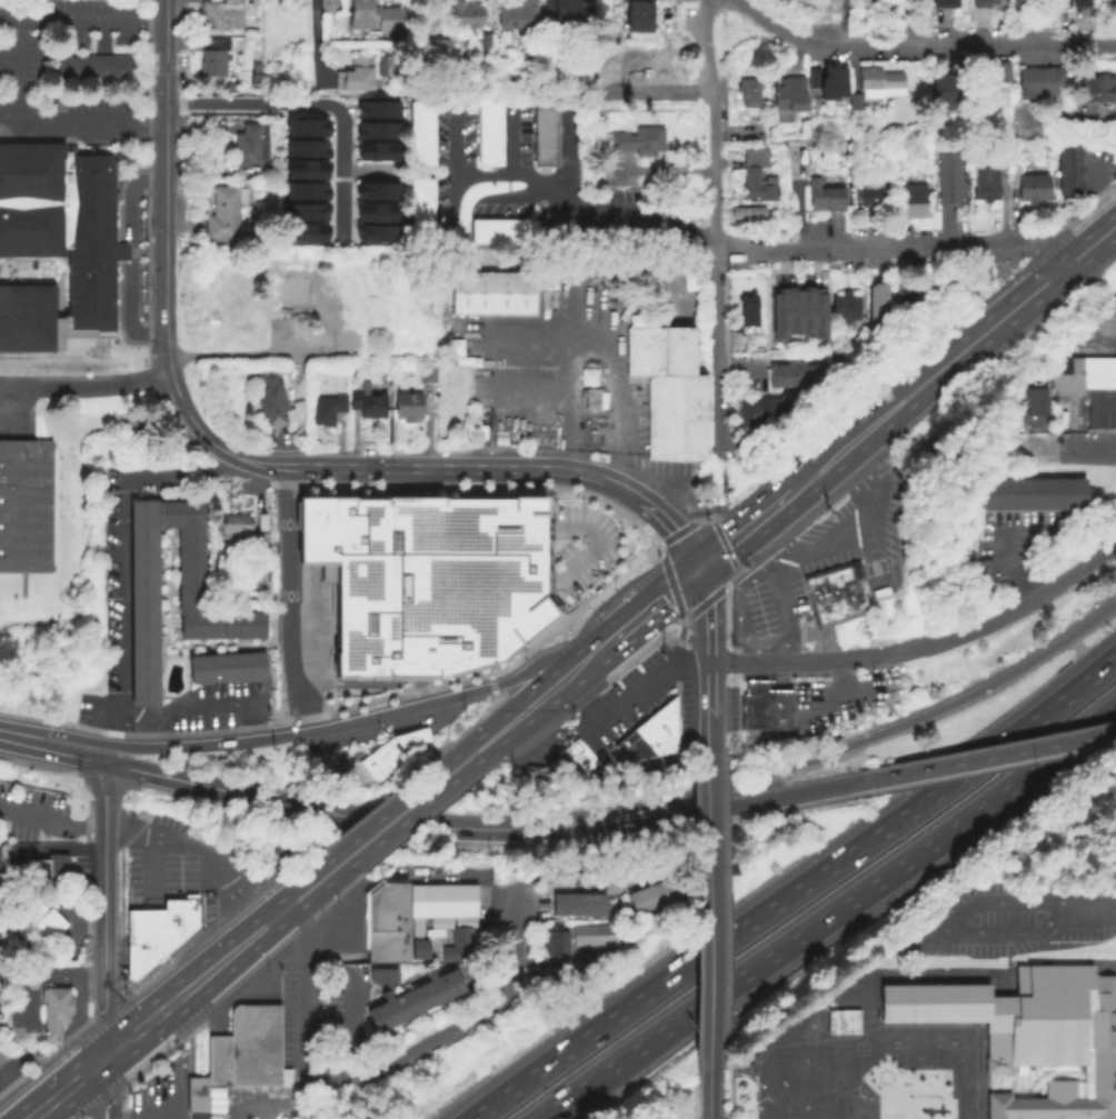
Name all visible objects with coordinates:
building: (1080, 0)
building: (944, 2)
building: (1058, 2)
building: (985, 4)
building: (1026, 6)
building: (326, 7)
building: (817, 9)
building: (567, 11)
building: (226, 16)
building: (518, 16)
building: (375, 17)
building: (466, 17)
building: (641, 17)
road: (895, 19)
road: (81, 21)
road: (308, 38)
road: (919, 44)
building: (437, 48)
building: (213, 59)
building: (96, 67)
road: (18, 70)
building: (610, 72)
building: (356, 74)
building: (1004, 74)
building: (1042, 81)
building: (834, 83)
building: (881, 83)
building: (1095, 90)
building: (948, 91)
building: (748, 93)
building: (788, 96)
building: (985, 99)
road: (318, 103)
building: (855, 103)
building: (375, 108)
road: (714, 122)
building: (305, 126)
road: (80, 129)
building: (375, 129)
building: (545, 133)
building: (421, 134)
building: (489, 134)
road: (510, 141)
building: (639, 141)
building: (249, 147)
building: (305, 147)
building: (373, 150)
road: (568, 160)
building: (305, 169)
road: (450, 171)
building: (1070, 171)
road: (661, 172)
building: (757, 177)
building: (943, 178)
building: (955, 178)
building: (988, 181)
road: (1096, 184)
road: (165, 188)
building: (1030, 188)
building: (305, 189)
building: (373, 190)
road: (128, 198)
building: (226, 198)
building: (826, 198)
building: (873, 198)
building: (914, 202)
building: (422, 207)
road: (579, 208)
building: (303, 210)
building: (373, 211)
building: (747, 212)
building: (220, 226)
building: (303, 231)
building: (373, 232)
building: (506, 234)
building: (58, 244)
road: (893, 246)
road: (1088, 248)
road: (124, 253)
building: (982, 277)
building: (497, 293)
building: (918, 298)
building: (302, 299)
building: (749, 306)
building: (880, 309)
building: (808, 311)
building: (795, 312)
building: (846, 312)
road: (127, 313)
building: (820, 316)
building: (780, 318)
building: (749, 327)
building: (346, 343)
road: (716, 350)
road: (963, 351)
road: (246, 358)
road: (611, 363)
building: (1080, 373)
building: (427, 376)
road: (736, 377)
building: (795, 378)
road: (84, 387)
building: (671, 392)
road: (531, 397)
building: (594, 397)
building: (1037, 403)
building: (275, 404)
building: (369, 406)
building: (1100, 406)
building: (408, 408)
road: (567, 409)
building: (326, 411)
building: (758, 414)
building: (479, 434)
road: (207, 438)
road: (1064, 453)
road: (828, 462)
road: (285, 466)
road: (451, 468)
road: (188, 478)
road: (427, 482)
building: (1032, 498)
road: (870, 503)
building: (24, 508)
road: (716, 510)
road: (658, 517)
road: (486, 519)
road: (682, 529)
road: (744, 530)
building: (242, 534)
road: (779, 534)
road: (600, 543)
road: (724, 543)
road: (1000, 554)
parking lot: (824, 560)
road: (749, 566)
building: (145, 570)
road: (424, 570)
traffic signals: (697, 570)
road: (524, 576)
building: (429, 578)
road: (669, 581)
road: (703, 585)
building: (829, 586)
road: (723, 588)
road: (740, 591)
road: (123, 592)
road: (288, 600)
road: (657, 602)
building: (845, 607)
road: (695, 610)
building: (820, 615)
road: (681, 626)
road: (670, 631)
road: (708, 631)
parking lot: (821, 638)
road: (612, 640)
road: (383, 643)
road: (719, 643)
road: (924, 646)
road: (774, 652)
road: (594, 655)
road: (407, 660)
road: (422, 660)
road: (1102, 665)
building: (228, 669)
road: (345, 681)
building: (755, 686)
road: (424, 690)
parking lot: (640, 697)
road: (630, 698)
building: (754, 701)
road: (708, 706)
road: (1114, 707)
building: (778, 708)
road: (188, 710)
road: (525, 711)
building: (754, 718)
building: (670, 719)
road: (119, 727)
building: (670, 730)
road: (292, 733)
building: (647, 735)
building: (670, 740)
road: (851, 745)
road: (50, 749)
parking lot: (535, 753)
building: (395, 755)
building: (580, 756)
road: (988, 757)
road: (649, 767)
road: (807, 791)
road: (328, 811)
parking lot: (42, 815)
road: (657, 818)
road: (379, 832)
road: (149, 836)
building: (279, 853)
road: (708, 861)
road: (664, 869)
building: (49, 871)
road: (582, 877)
building: (676, 889)
building: (664, 893)
road: (777, 897)
building: (651, 899)
building: (445, 903)
building: (639, 903)
road: (1085, 905)
building: (561, 906)
building: (575, 906)
building: (588, 906)
building: (601, 906)
road: (100, 911)
road: (824, 915)
building: (167, 917)
parking lot: (1018, 917)
building: (387, 923)
road: (969, 925)
building: (39, 927)
building: (416, 932)
building: (434, 935)
building: (594, 937)
road: (510, 939)
building: (557, 942)
building: (150, 948)
building: (459, 948)
building: (1, 949)
building: (421, 951)
building: (550, 978)
building: (386, 979)
road: (195, 985)
road: (309, 990)
building: (417, 1002)
building: (54, 1013)
road: (708, 1020)
building: (844, 1023)
building: (1032, 1033)
road: (156, 1040)
road: (420, 1047)
building: (248, 1051)
road: (18, 1085)
road: (66, 1090)
road: (100, 1090)
road: (708, 1092)
building: (197, 1097)
road: (151, 1110)

